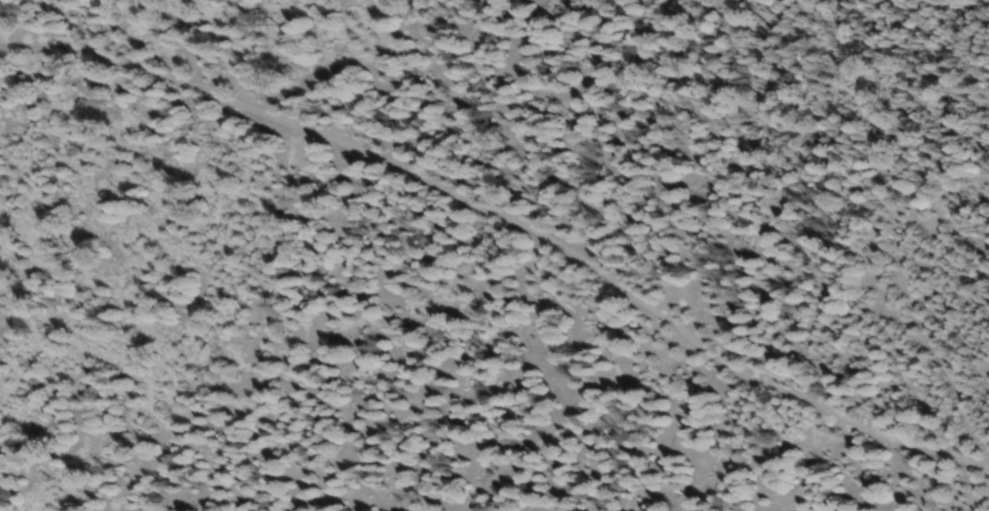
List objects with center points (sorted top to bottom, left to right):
road: (197, 144)
road: (514, 216)
road: (896, 228)

